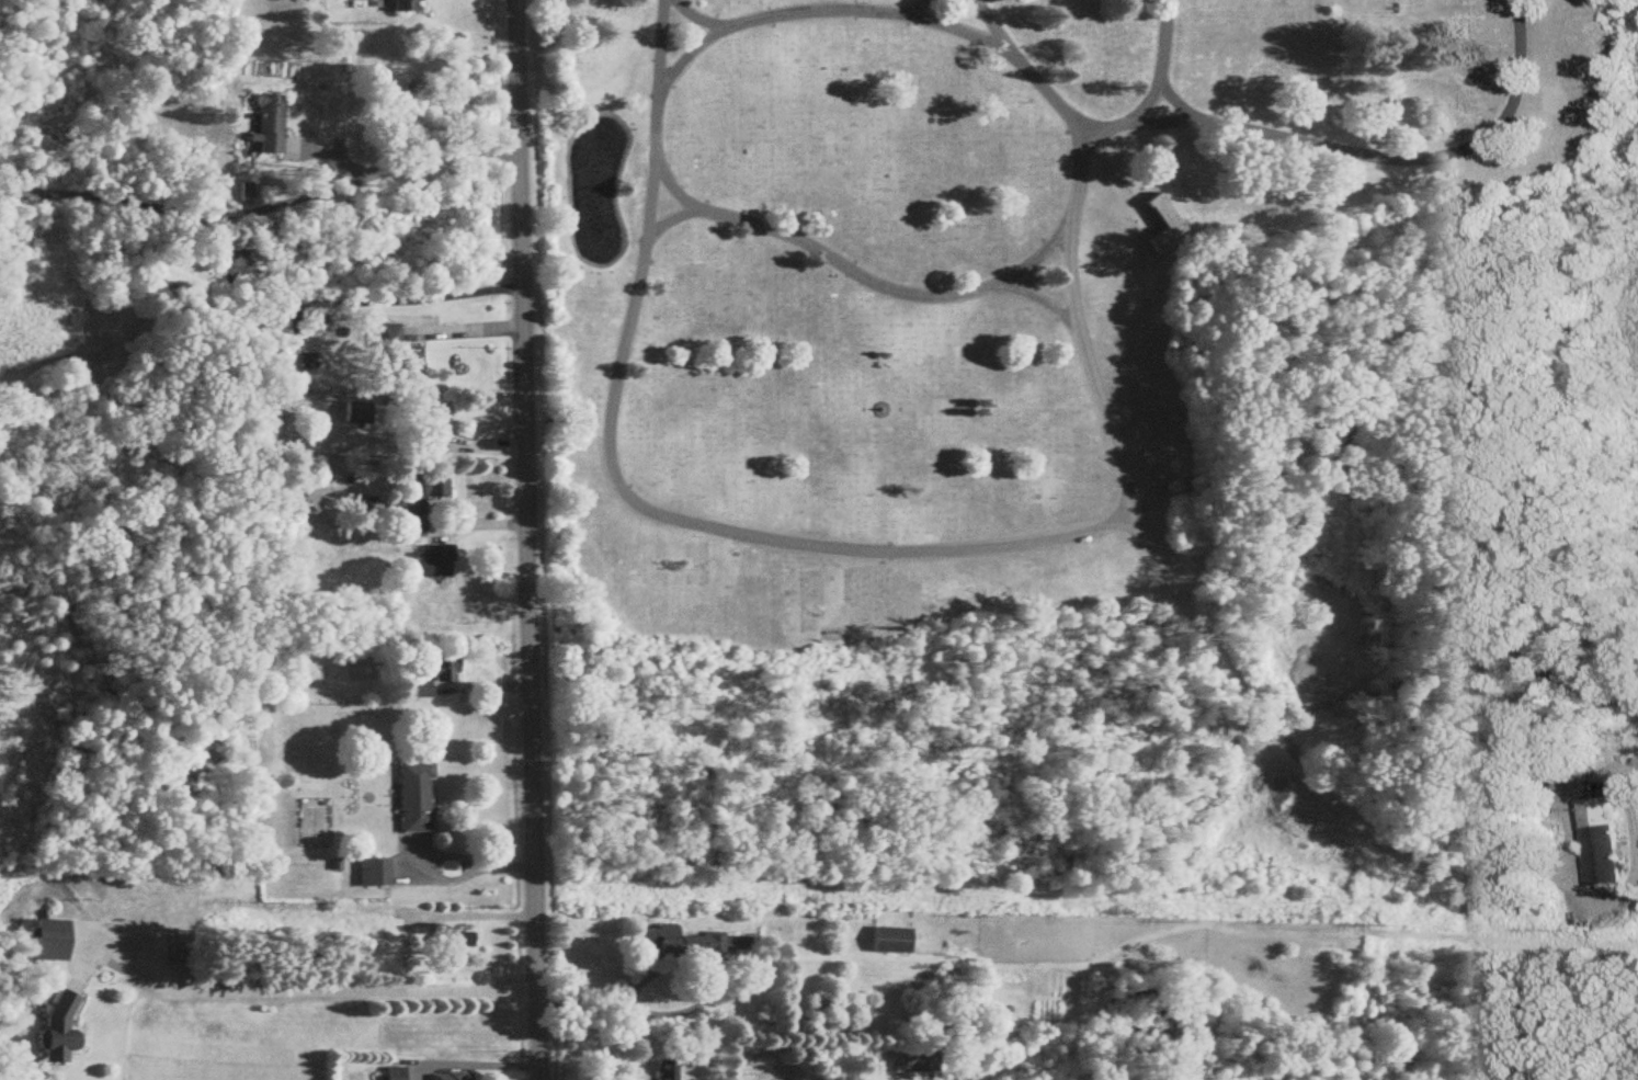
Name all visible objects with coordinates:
building: (408, 5)
road: (907, 5)
road: (879, 9)
road: (698, 15)
road: (985, 22)
road: (1172, 99)
building: (273, 124)
road: (1380, 154)
road: (1113, 179)
road: (262, 211)
road: (669, 221)
building: (1157, 223)
road: (905, 295)
road: (1038, 298)
road: (356, 302)
road: (467, 330)
building: (397, 359)
building: (361, 414)
building: (435, 429)
park: (1044, 456)
building: (1170, 484)
building: (406, 507)
road: (709, 521)
building: (414, 530)
road: (532, 539)
building: (436, 562)
road: (1201, 621)
building: (444, 670)
building: (423, 691)
road: (1588, 789)
building: (419, 799)
building: (1597, 841)
building: (376, 875)
road: (1539, 879)
road: (441, 880)
road: (1603, 900)
building: (54, 941)
building: (894, 942)
building: (457, 944)
building: (690, 945)
road: (669, 968)
road: (318, 991)
building: (62, 1031)
building: (921, 1060)
building: (670, 1070)
building: (398, 1073)
building: (452, 1076)

